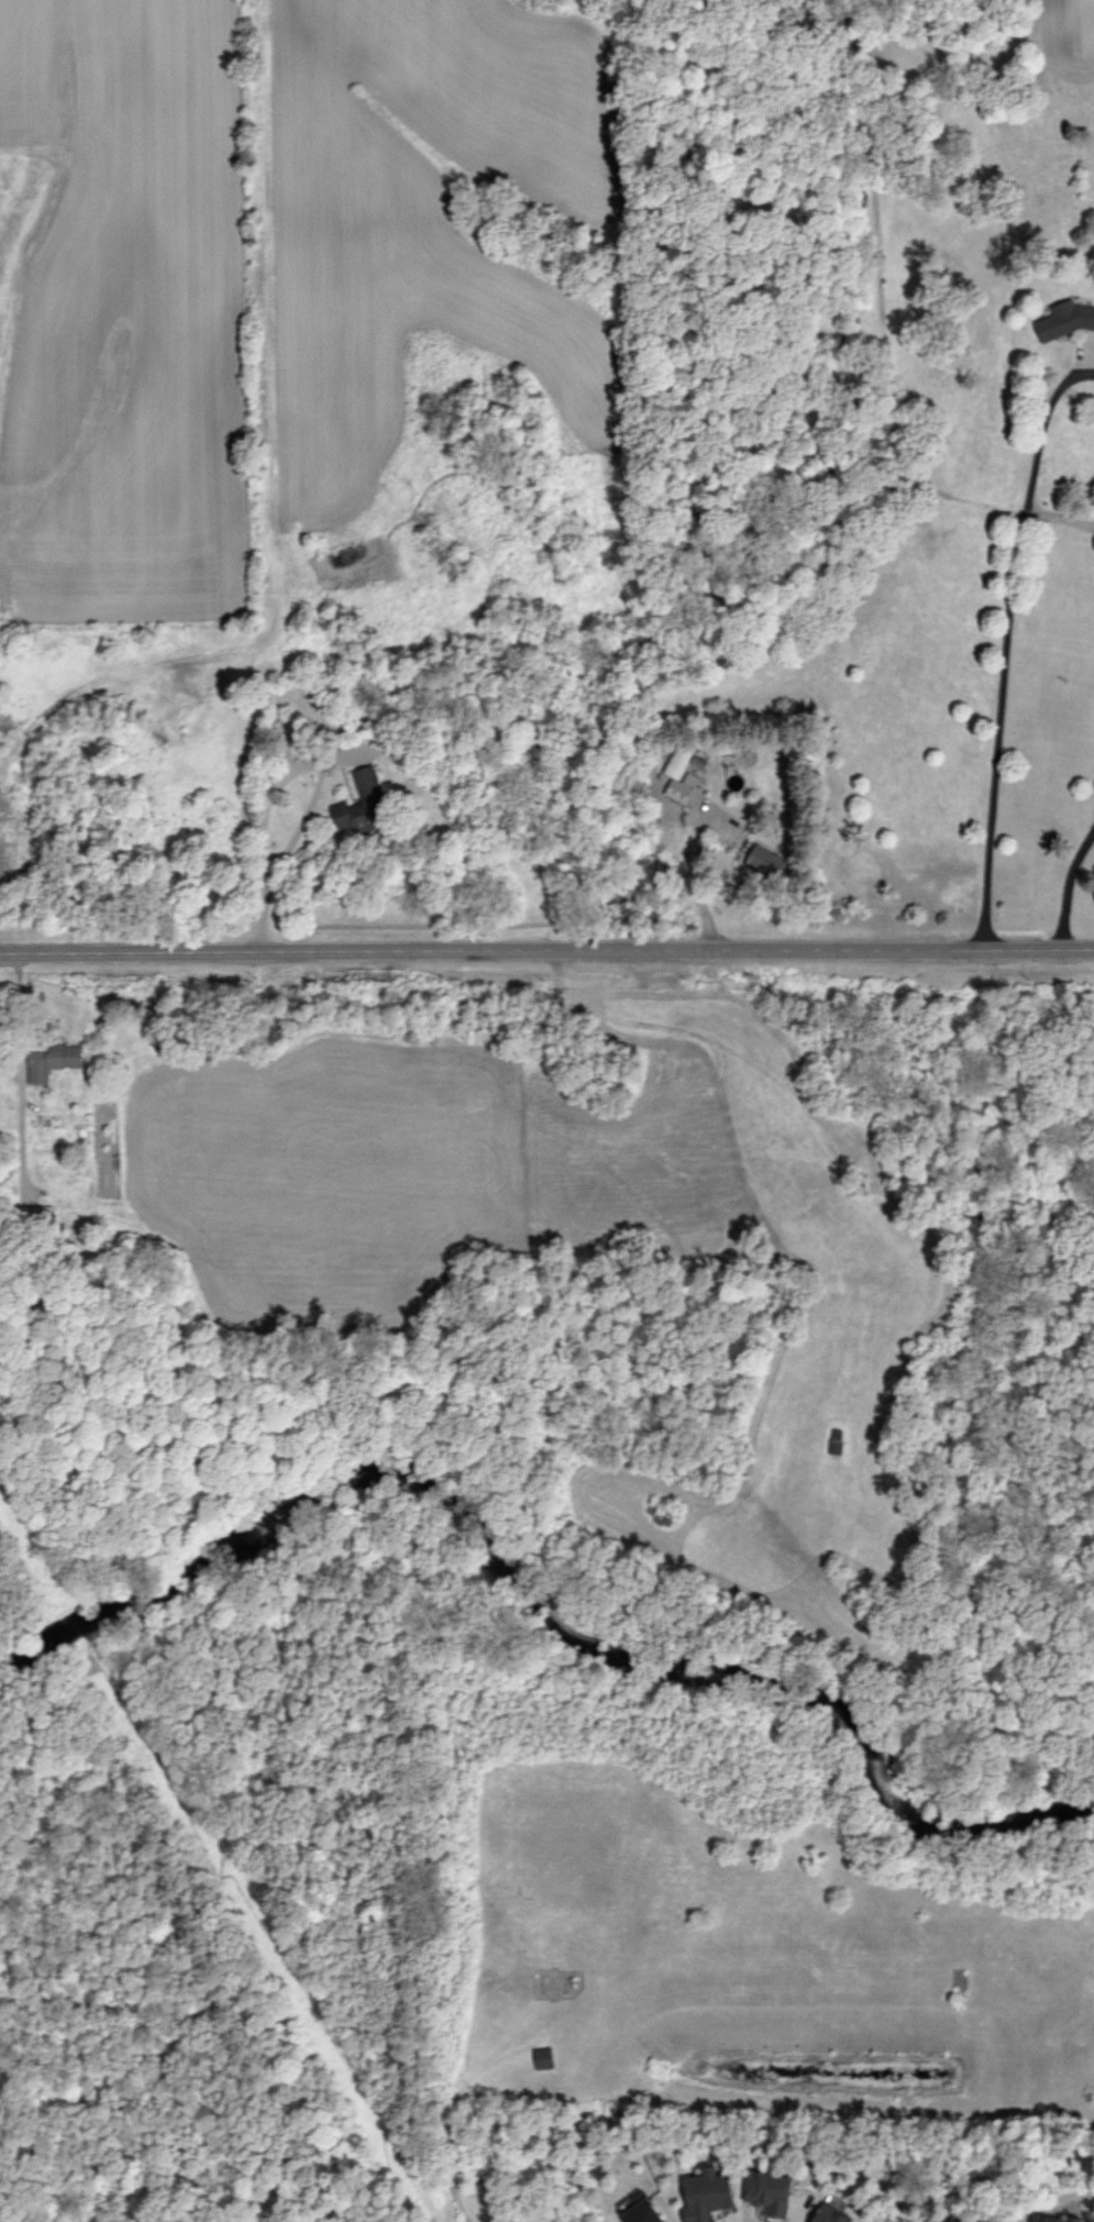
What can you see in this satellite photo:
building: (1065, 319)
road: (1059, 518)
road: (1006, 649)
building: (675, 773)
building: (362, 803)
road: (295, 842)
building: (767, 861)
road: (695, 883)
road: (1067, 888)
road: (546, 955)
road: (23, 1027)
building: (53, 1060)
river: (530, 1588)
building: (544, 2057)
building: (770, 2191)
building: (707, 2195)
building: (643, 2212)
building: (831, 2214)
building: (1054, 2219)

